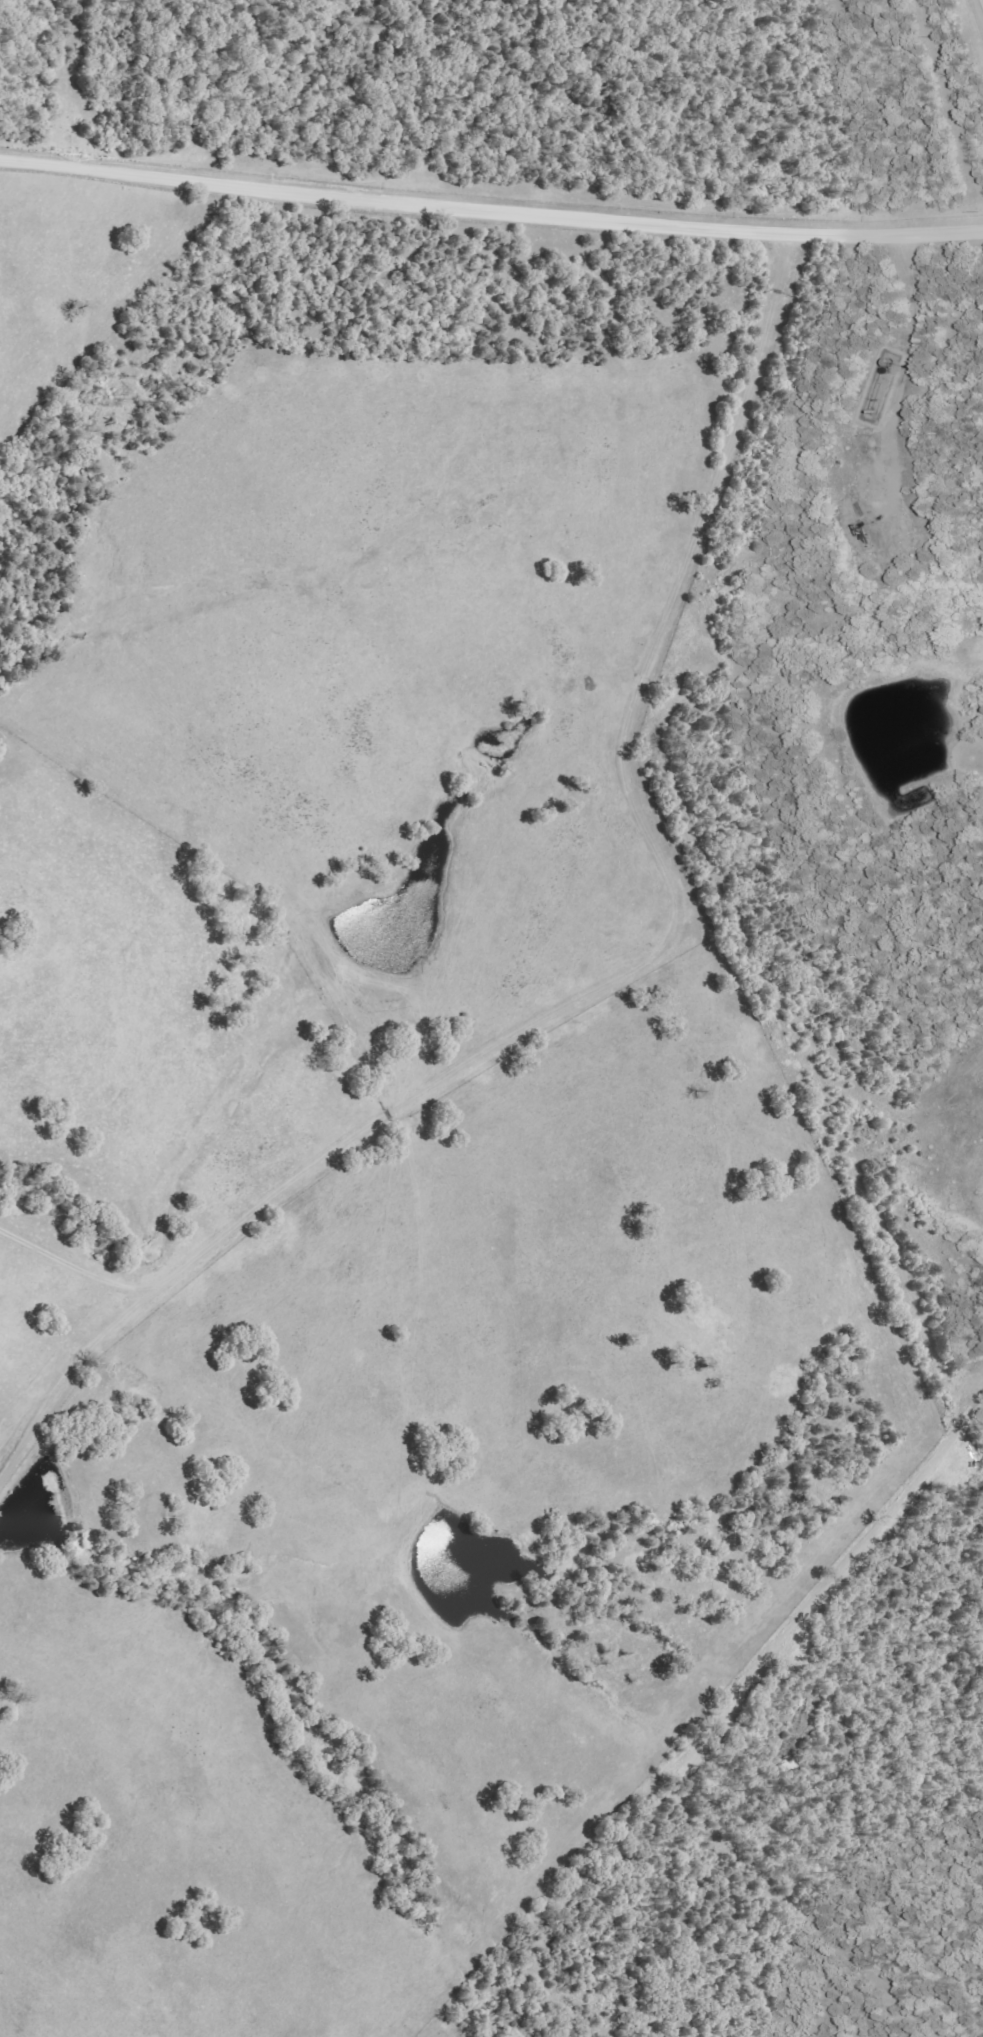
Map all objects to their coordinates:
road: (490, 207)
road: (619, 972)
road: (96, 1271)

